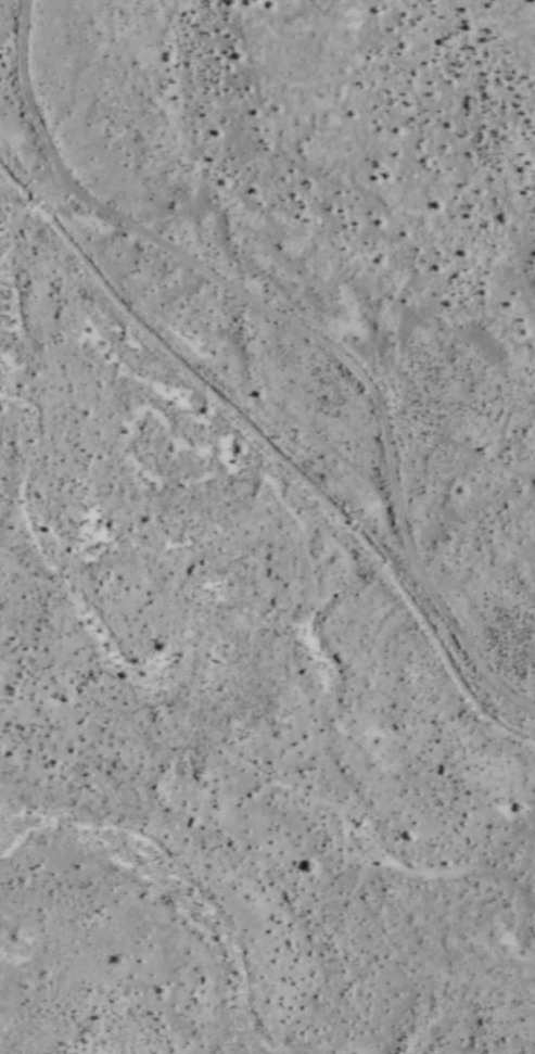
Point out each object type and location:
road: (289, 336)

